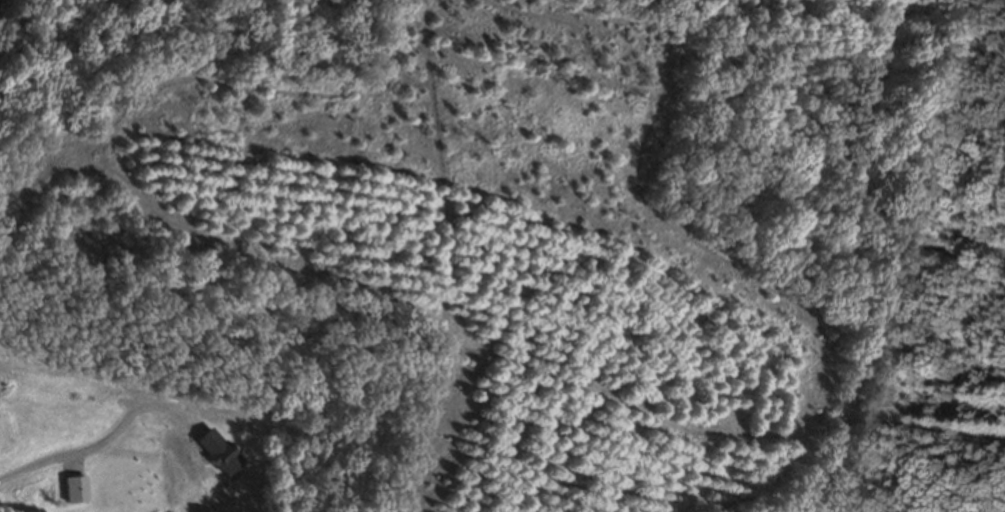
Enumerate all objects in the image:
road: (15, 17)
road: (97, 439)

